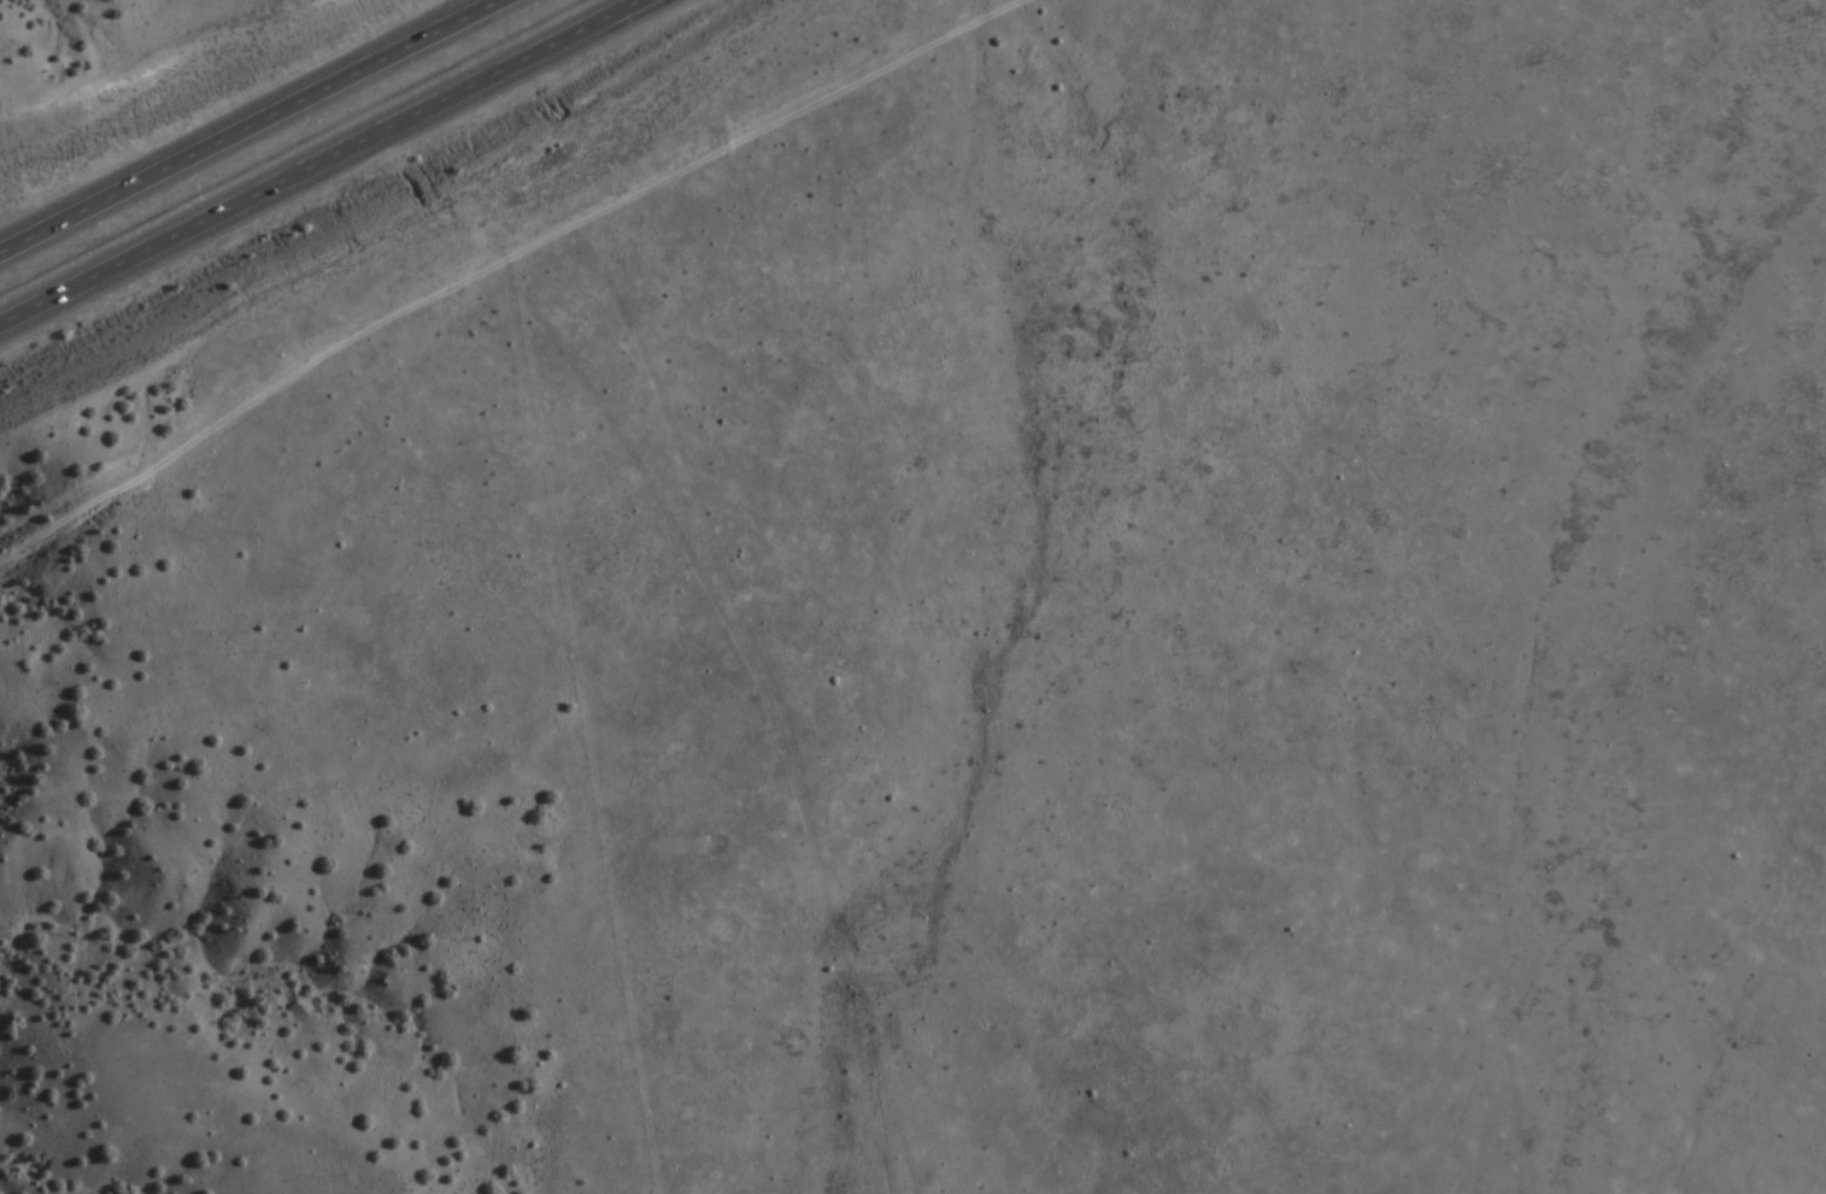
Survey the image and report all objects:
road: (264, 130)
road: (321, 166)

